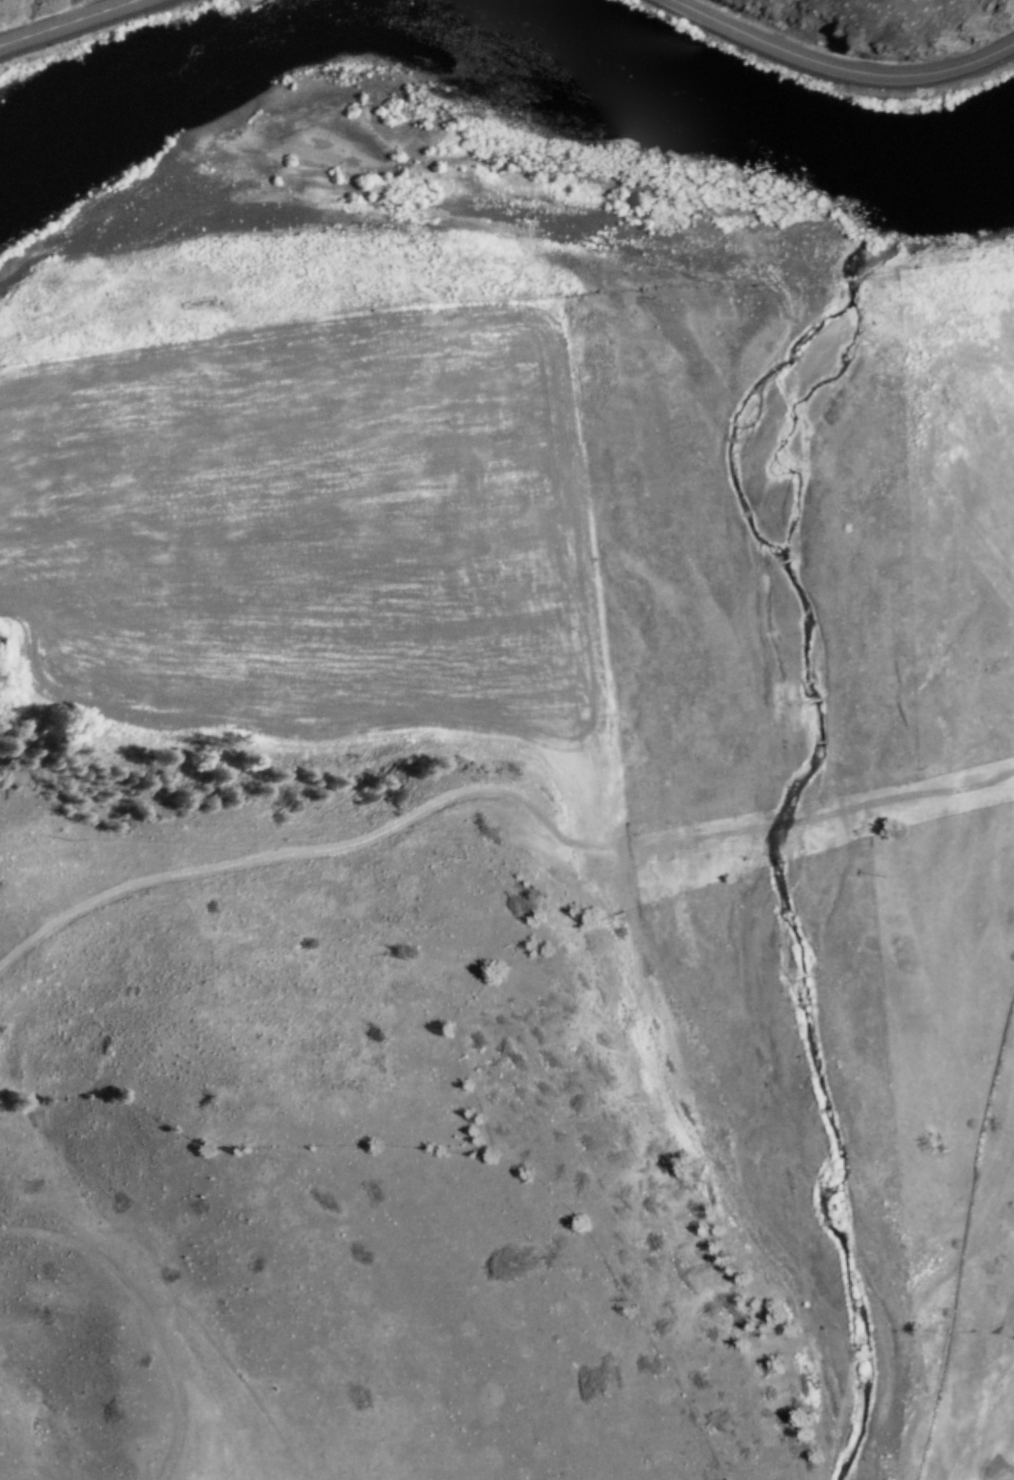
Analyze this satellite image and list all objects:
road: (76, 26)
river: (493, 48)
road: (830, 73)

